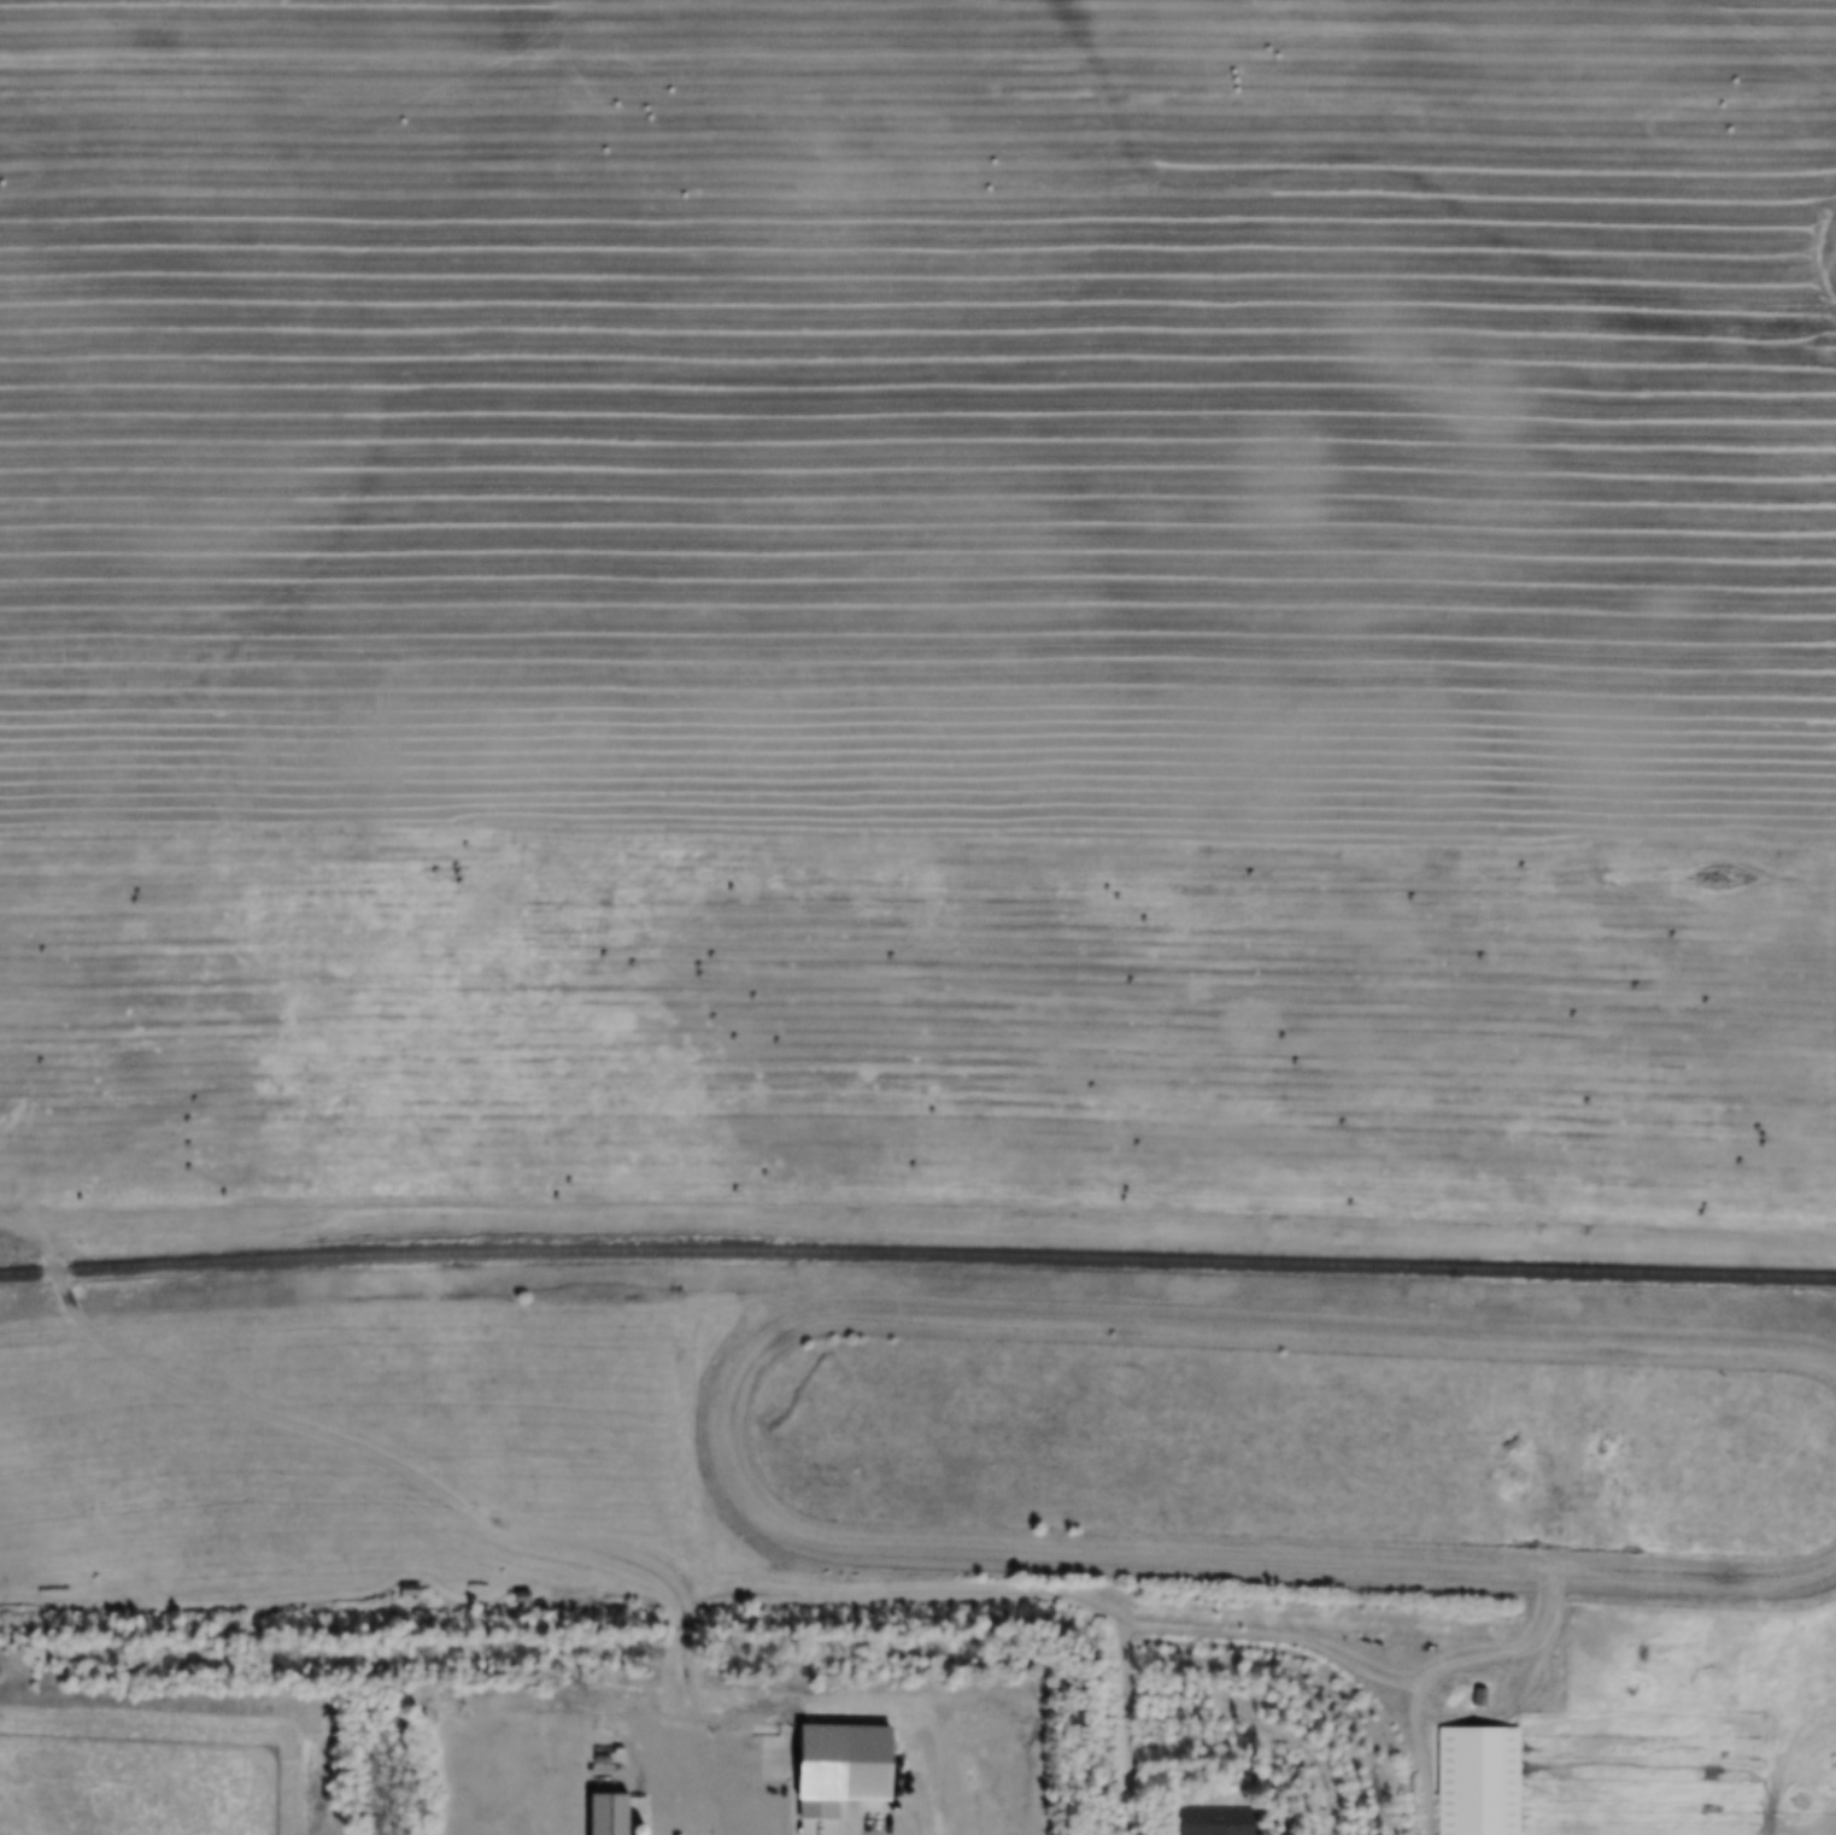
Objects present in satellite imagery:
railway: (917, 1255)
raceway: (723, 1431)
road: (382, 1458)
building: (406, 1593)
building: (520, 1597)
building: (1478, 1699)
building: (586, 1749)
silo: (586, 1749)
building: (837, 1769)
road: (723, 1778)
building: (1476, 1782)
building: (1214, 1822)

